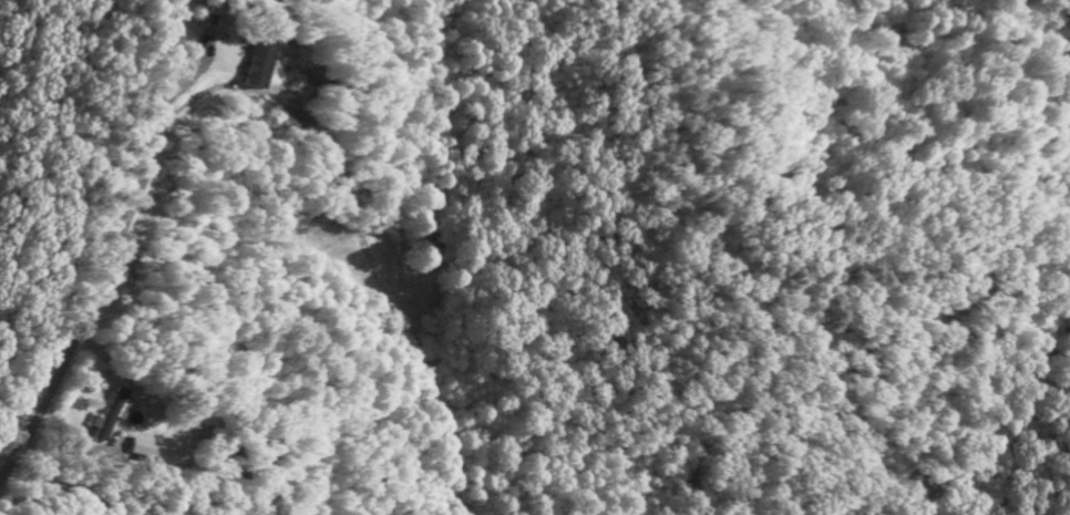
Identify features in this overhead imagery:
building: (257, 66)
road: (111, 245)
building: (107, 419)
building: (142, 452)

